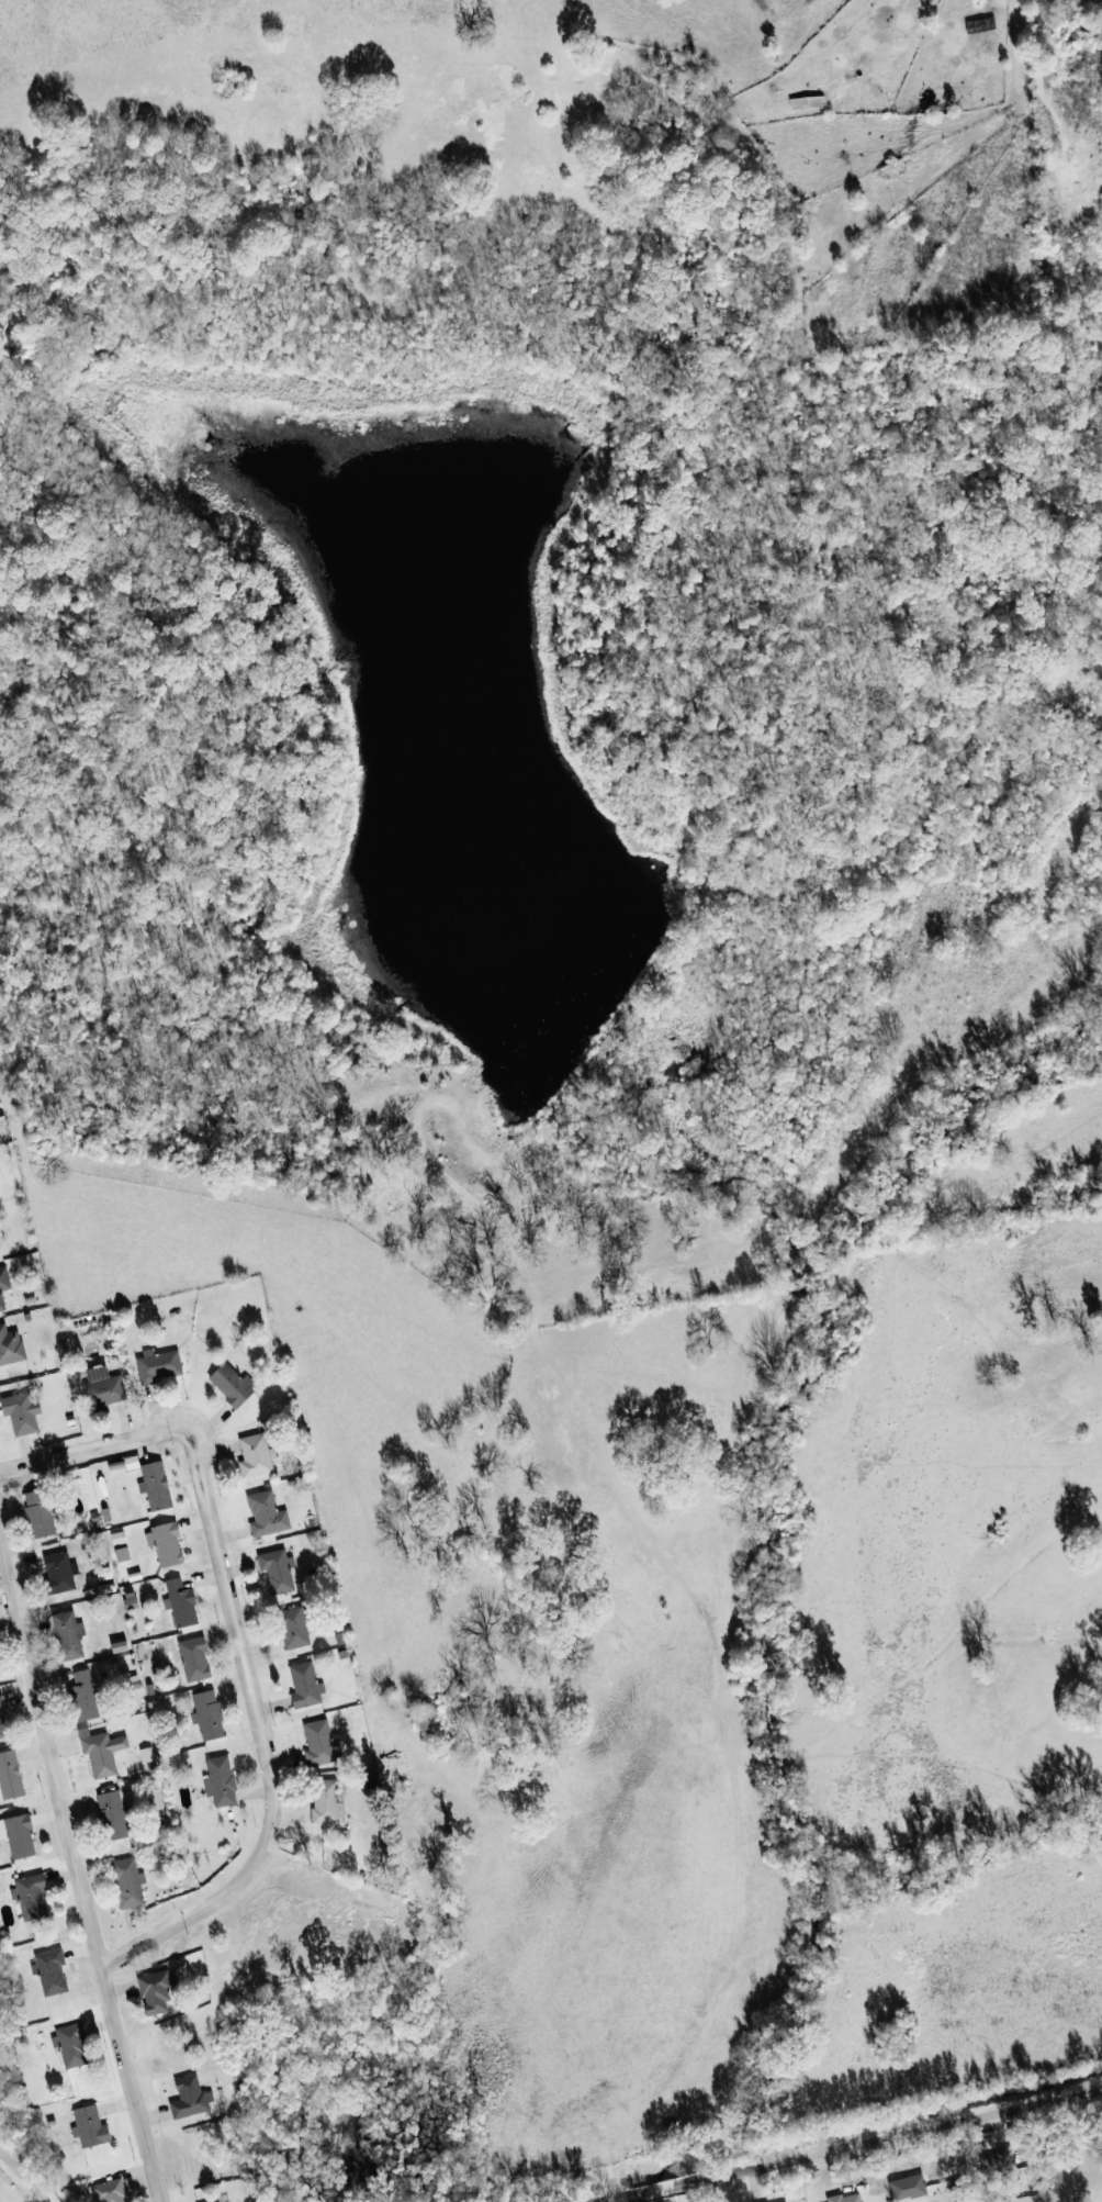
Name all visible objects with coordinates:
building: (0, 1240)
building: (4, 1287)
building: (11, 1348)
building: (161, 1367)
building: (235, 1386)
building: (105, 1388)
building: (24, 1415)
building: (259, 1458)
building: (158, 1488)
building: (43, 1514)
building: (269, 1517)
building: (120, 1539)
building: (168, 1545)
building: (124, 1556)
building: (280, 1573)
building: (63, 1575)
building: (132, 1602)
building: (182, 1606)
building: (296, 1630)
building: (70, 1636)
building: (124, 1647)
road: (240, 1647)
building: (196, 1659)
building: (0, 1677)
building: (307, 1687)
building: (86, 1698)
building: (210, 1717)
building: (3, 1722)
building: (322, 1745)
building: (104, 1753)
building: (147, 1756)
building: (12, 1776)
building: (223, 1782)
building: (327, 1803)
building: (119, 1818)
building: (21, 1837)
road: (77, 1873)
building: (130, 1885)
building: (34, 1897)
building: (54, 1972)
building: (158, 1992)
building: (75, 2047)
building: (193, 2100)
building: (97, 2128)
road: (856, 2147)
road: (24, 2166)
building: (909, 2189)
building: (111, 2192)
building: (845, 2199)
building: (224, 2201)

